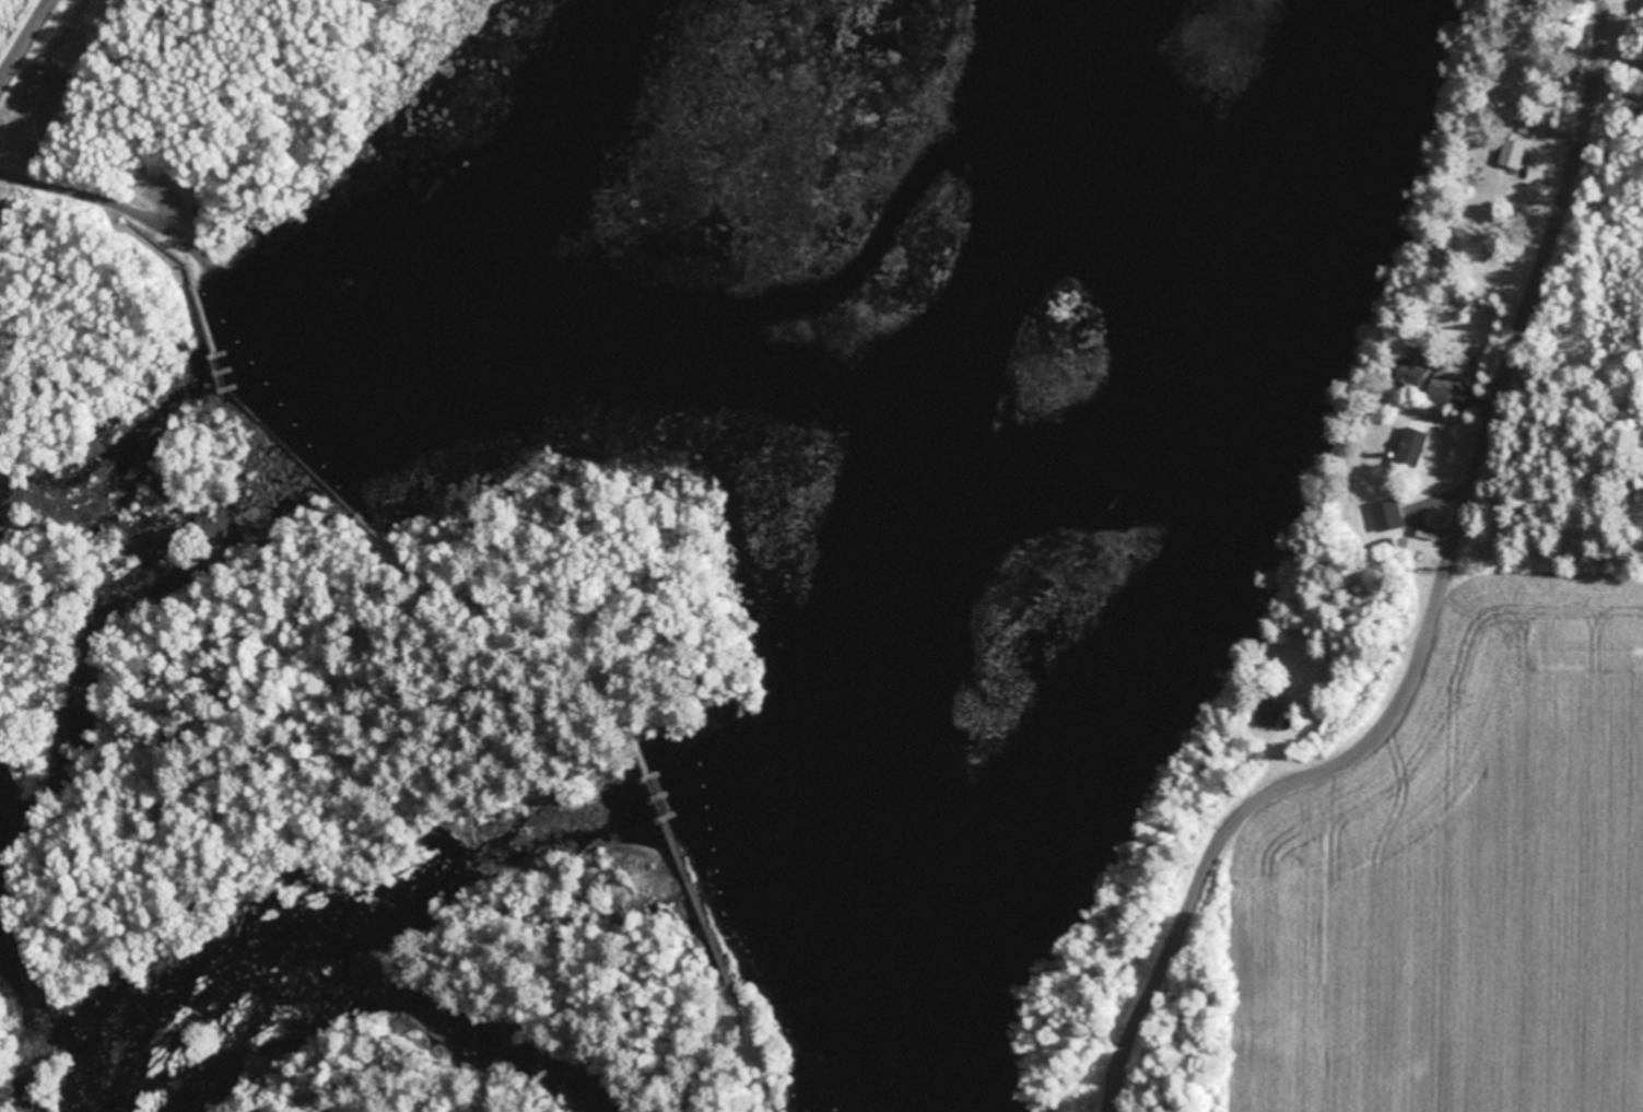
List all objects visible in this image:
road: (21, 39)
road: (152, 139)
building: (1513, 151)
dam: (218, 365)
building: (1443, 386)
building: (1412, 446)
dam: (313, 468)
building: (1388, 512)
road: (1435, 606)
river: (811, 714)
dam: (660, 804)

